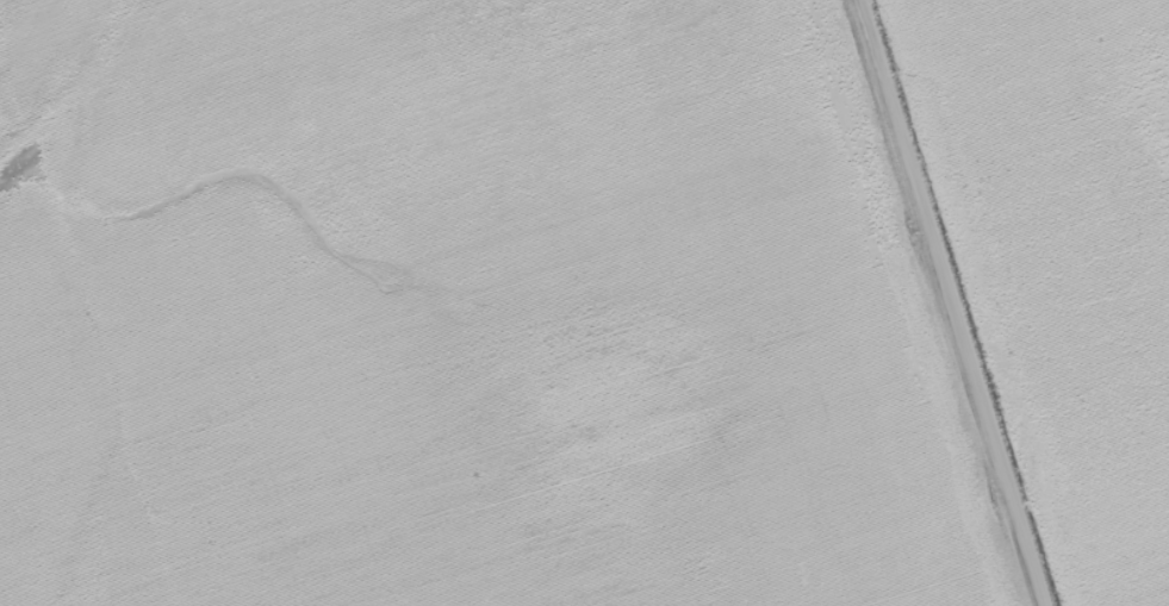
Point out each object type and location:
road: (947, 302)

